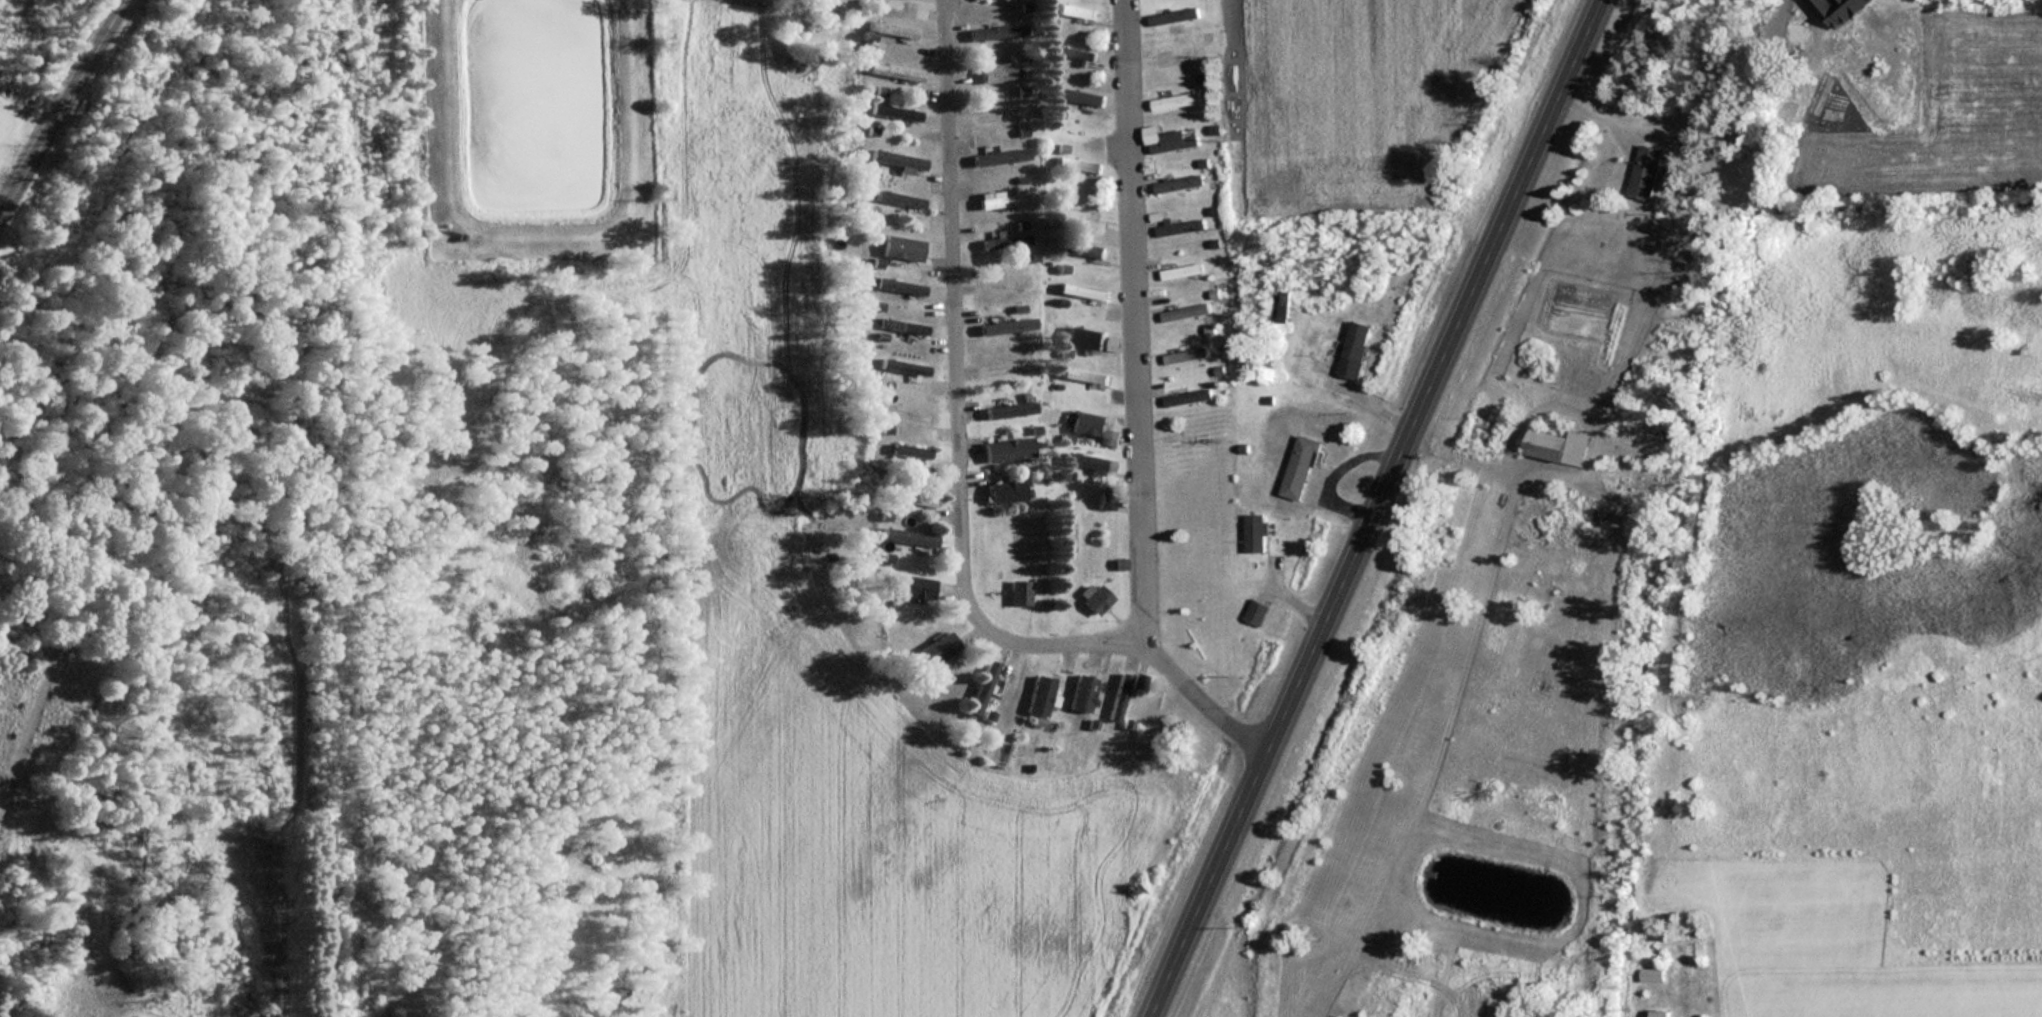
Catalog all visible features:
building: (1076, 10)
building: (1837, 10)
building: (1179, 15)
building: (891, 29)
building: (1074, 52)
building: (1182, 57)
building: (893, 72)
building: (995, 72)
building: (1081, 96)
building: (1174, 101)
building: (895, 111)
road: (66, 115)
building: (993, 115)
building: (1000, 154)
building: (897, 159)
building: (1079, 164)
building: (1647, 172)
building: (1179, 186)
building: (897, 196)
building: (1000, 200)
building: (1082, 207)
building: (1001, 242)
building: (901, 248)
building: (1076, 250)
building: (1186, 270)
building: (1003, 282)
building: (899, 286)
building: (1083, 290)
building: (1282, 306)
building: (905, 326)
building: (1004, 327)
building: (1084, 337)
building: (1354, 350)
building: (1183, 356)
building: (907, 366)
building: (1009, 368)
building: (1085, 375)
building: (1189, 397)
road: (956, 398)
road: (1136, 402)
building: (1012, 408)
building: (1087, 418)
building: (1557, 446)
building: (1008, 448)
building: (909, 451)
building: (1085, 460)
building: (1302, 469)
building: (1007, 491)
building: (906, 497)
road: (1374, 508)
building: (1255, 534)
building: (908, 536)
building: (914, 585)
building: (1019, 593)
building: (1097, 599)
building: (1256, 612)
building: (935, 647)
building: (1140, 683)
building: (981, 686)
building: (1082, 691)
building: (1038, 694)
building: (1119, 697)
building: (1652, 975)
building: (1660, 1014)

